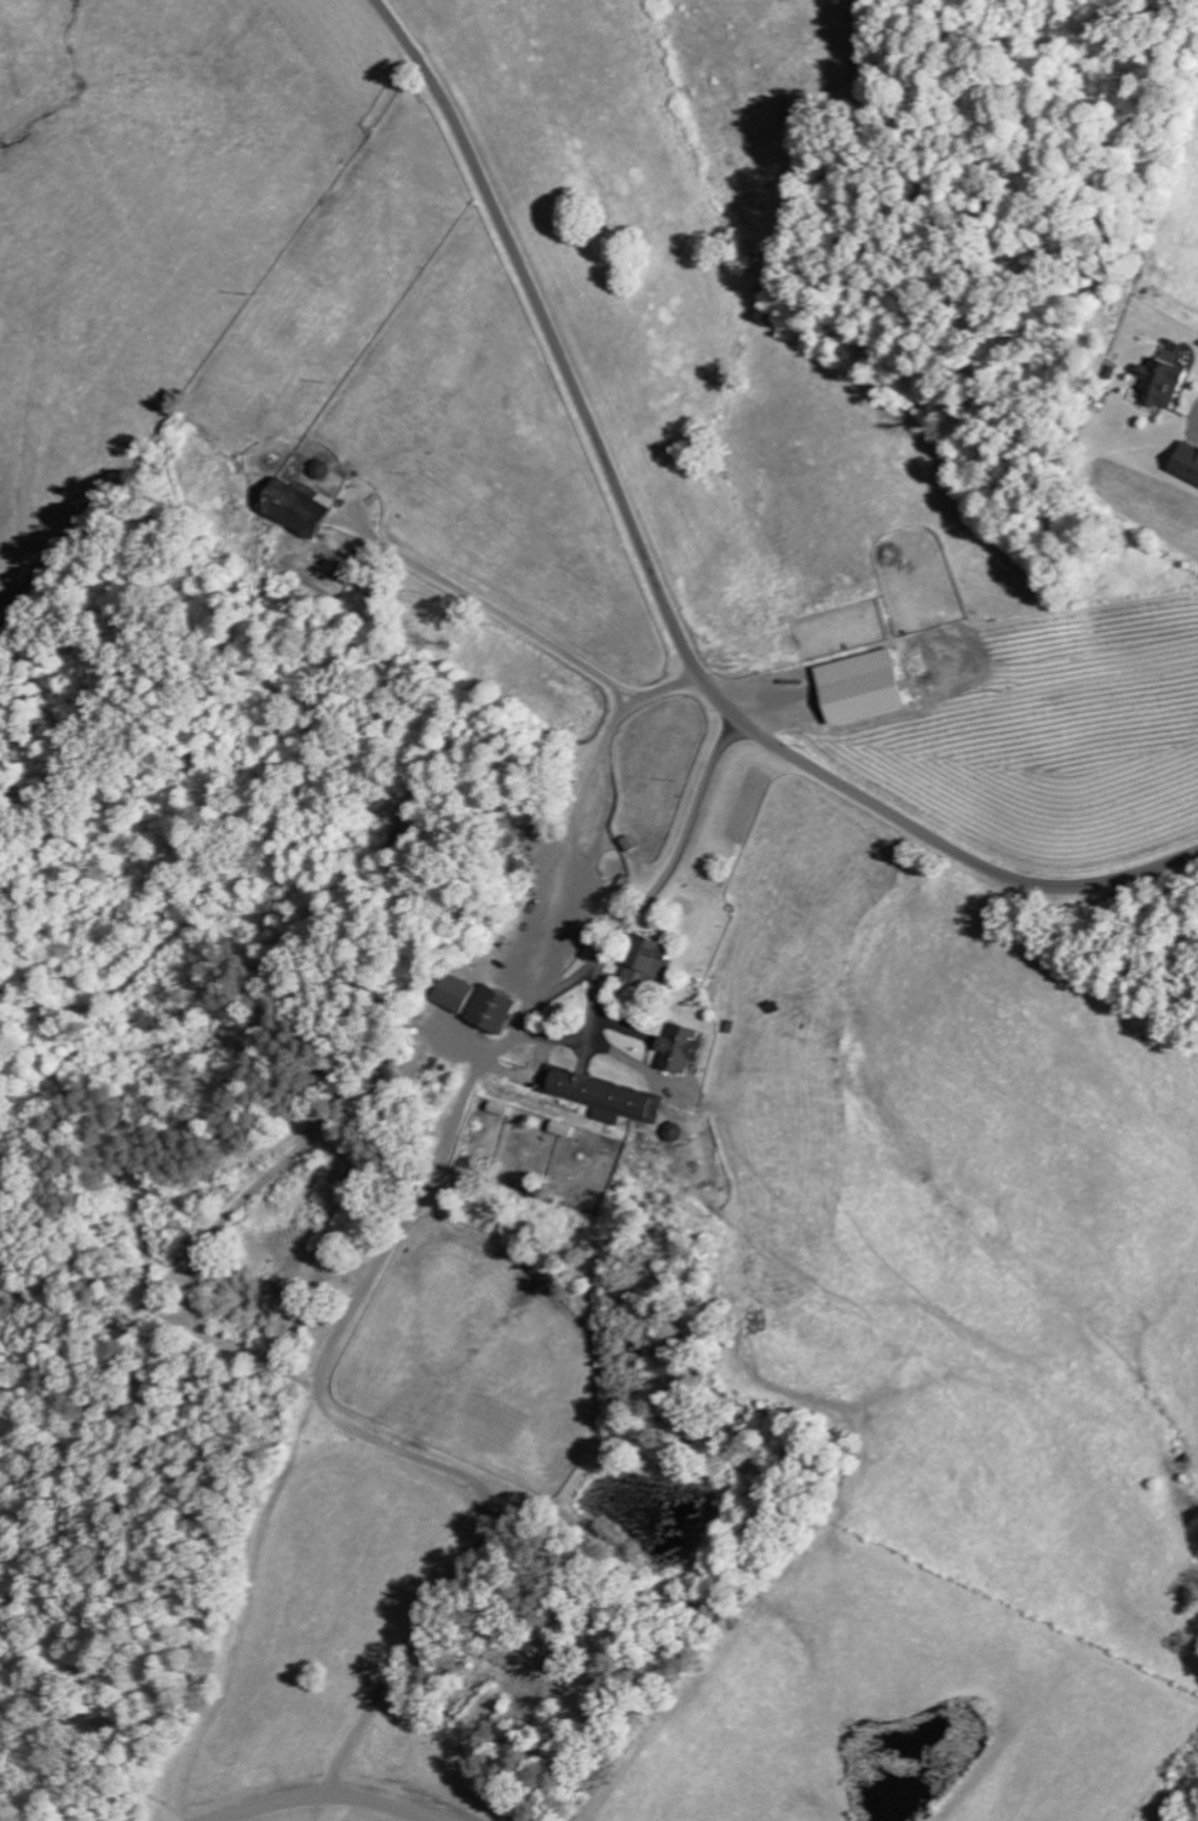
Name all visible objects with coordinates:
building: (1188, 461)
building: (307, 509)
road: (663, 592)
building: (870, 684)
building: (653, 959)
building: (466, 992)
building: (502, 1007)
building: (690, 1046)
building: (606, 1096)
building: (563, 1127)

